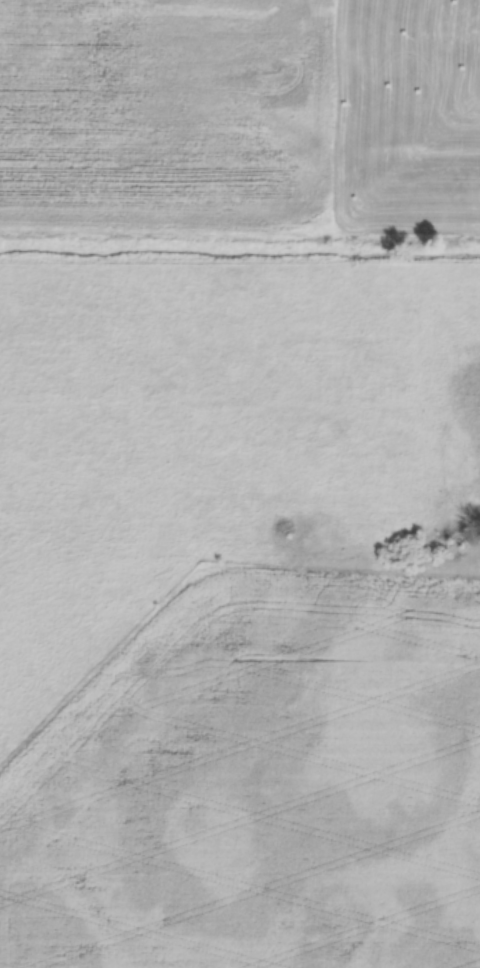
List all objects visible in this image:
crop: (169, 107)

